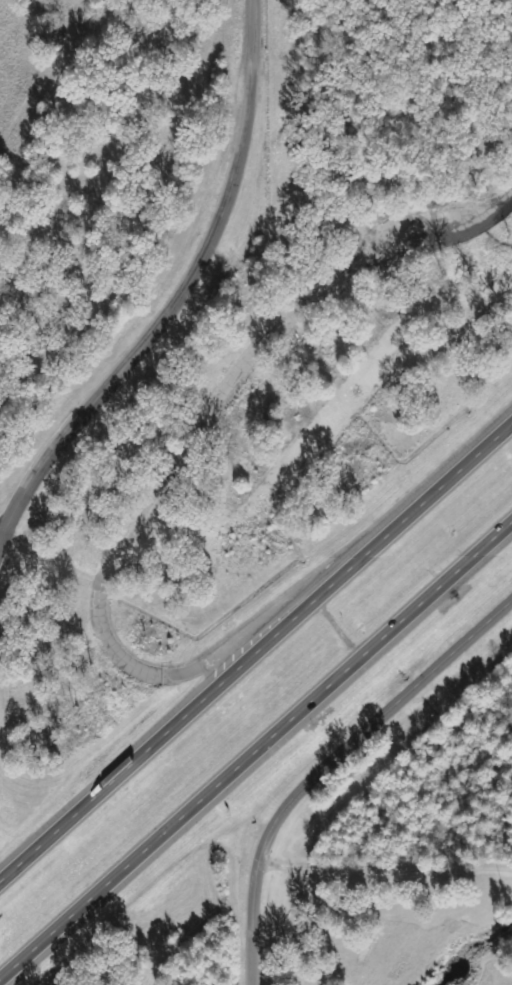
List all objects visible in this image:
road: (188, 288)
road: (280, 336)
road: (4, 528)
road: (4, 539)
road: (337, 627)
road: (252, 648)
road: (161, 673)
road: (255, 754)
road: (331, 768)

